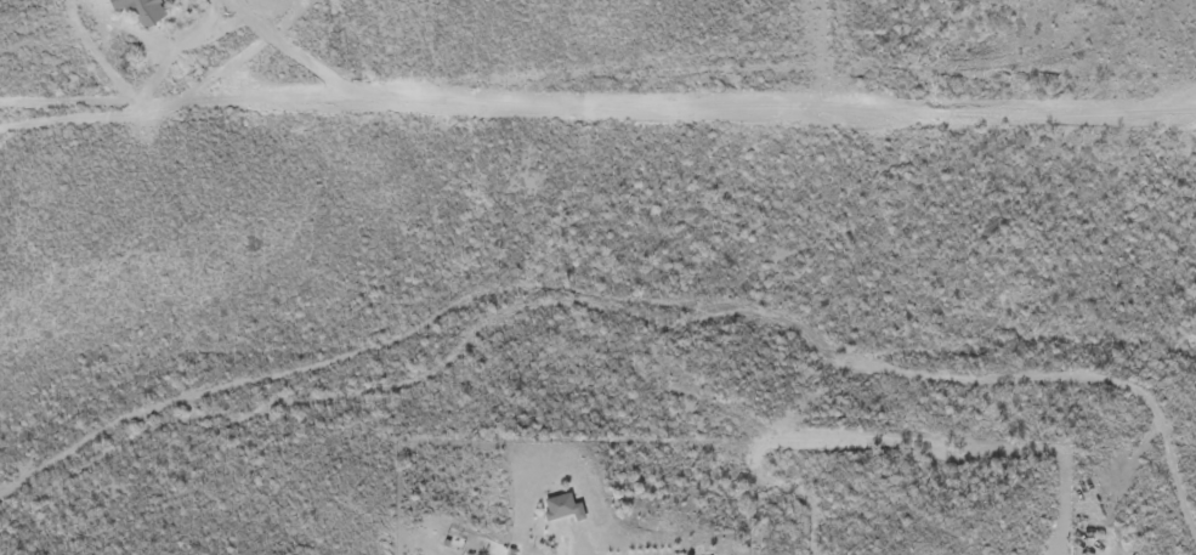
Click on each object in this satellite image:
road: (1117, 4)
road: (631, 299)
building: (552, 510)

